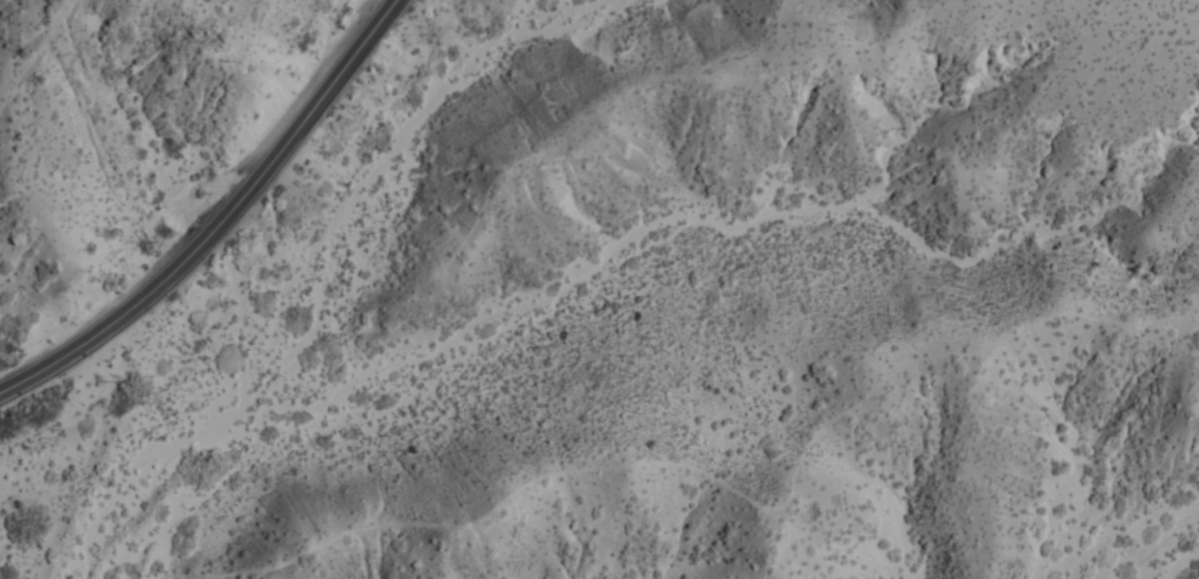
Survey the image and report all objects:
road: (219, 220)

